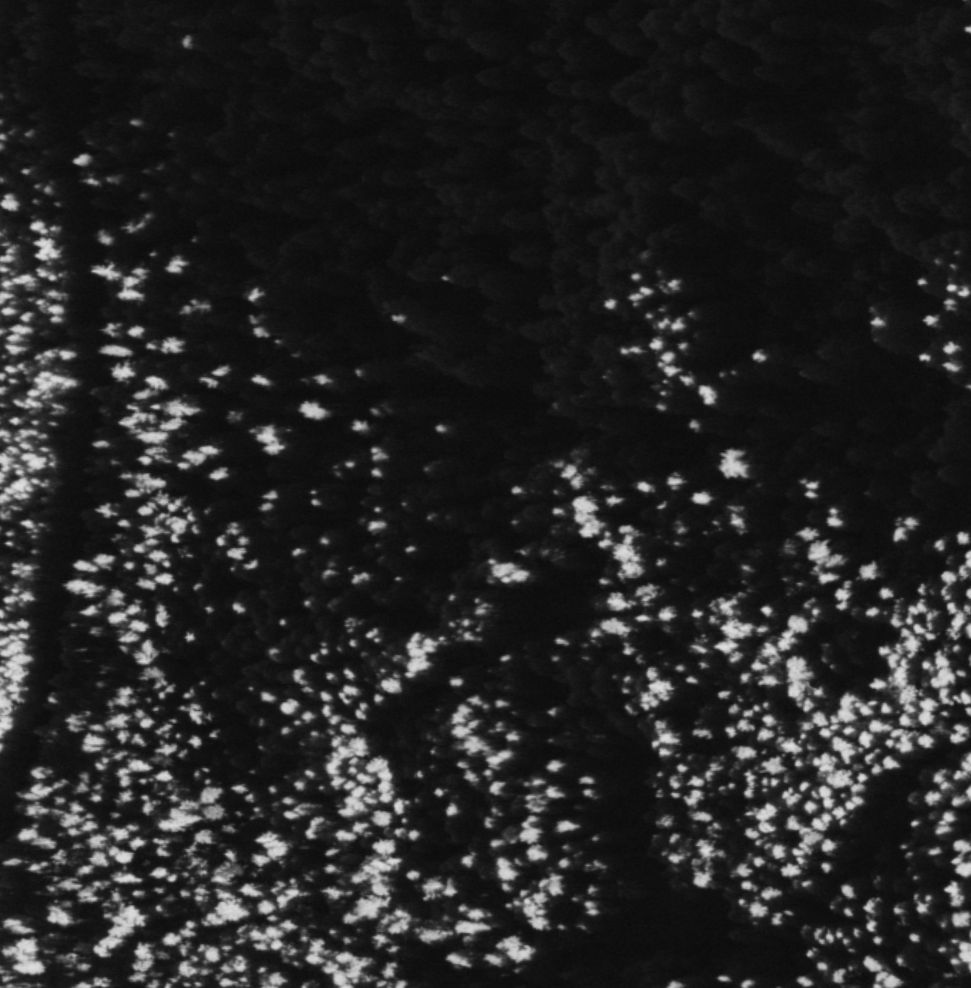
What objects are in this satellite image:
road: (60, 419)

